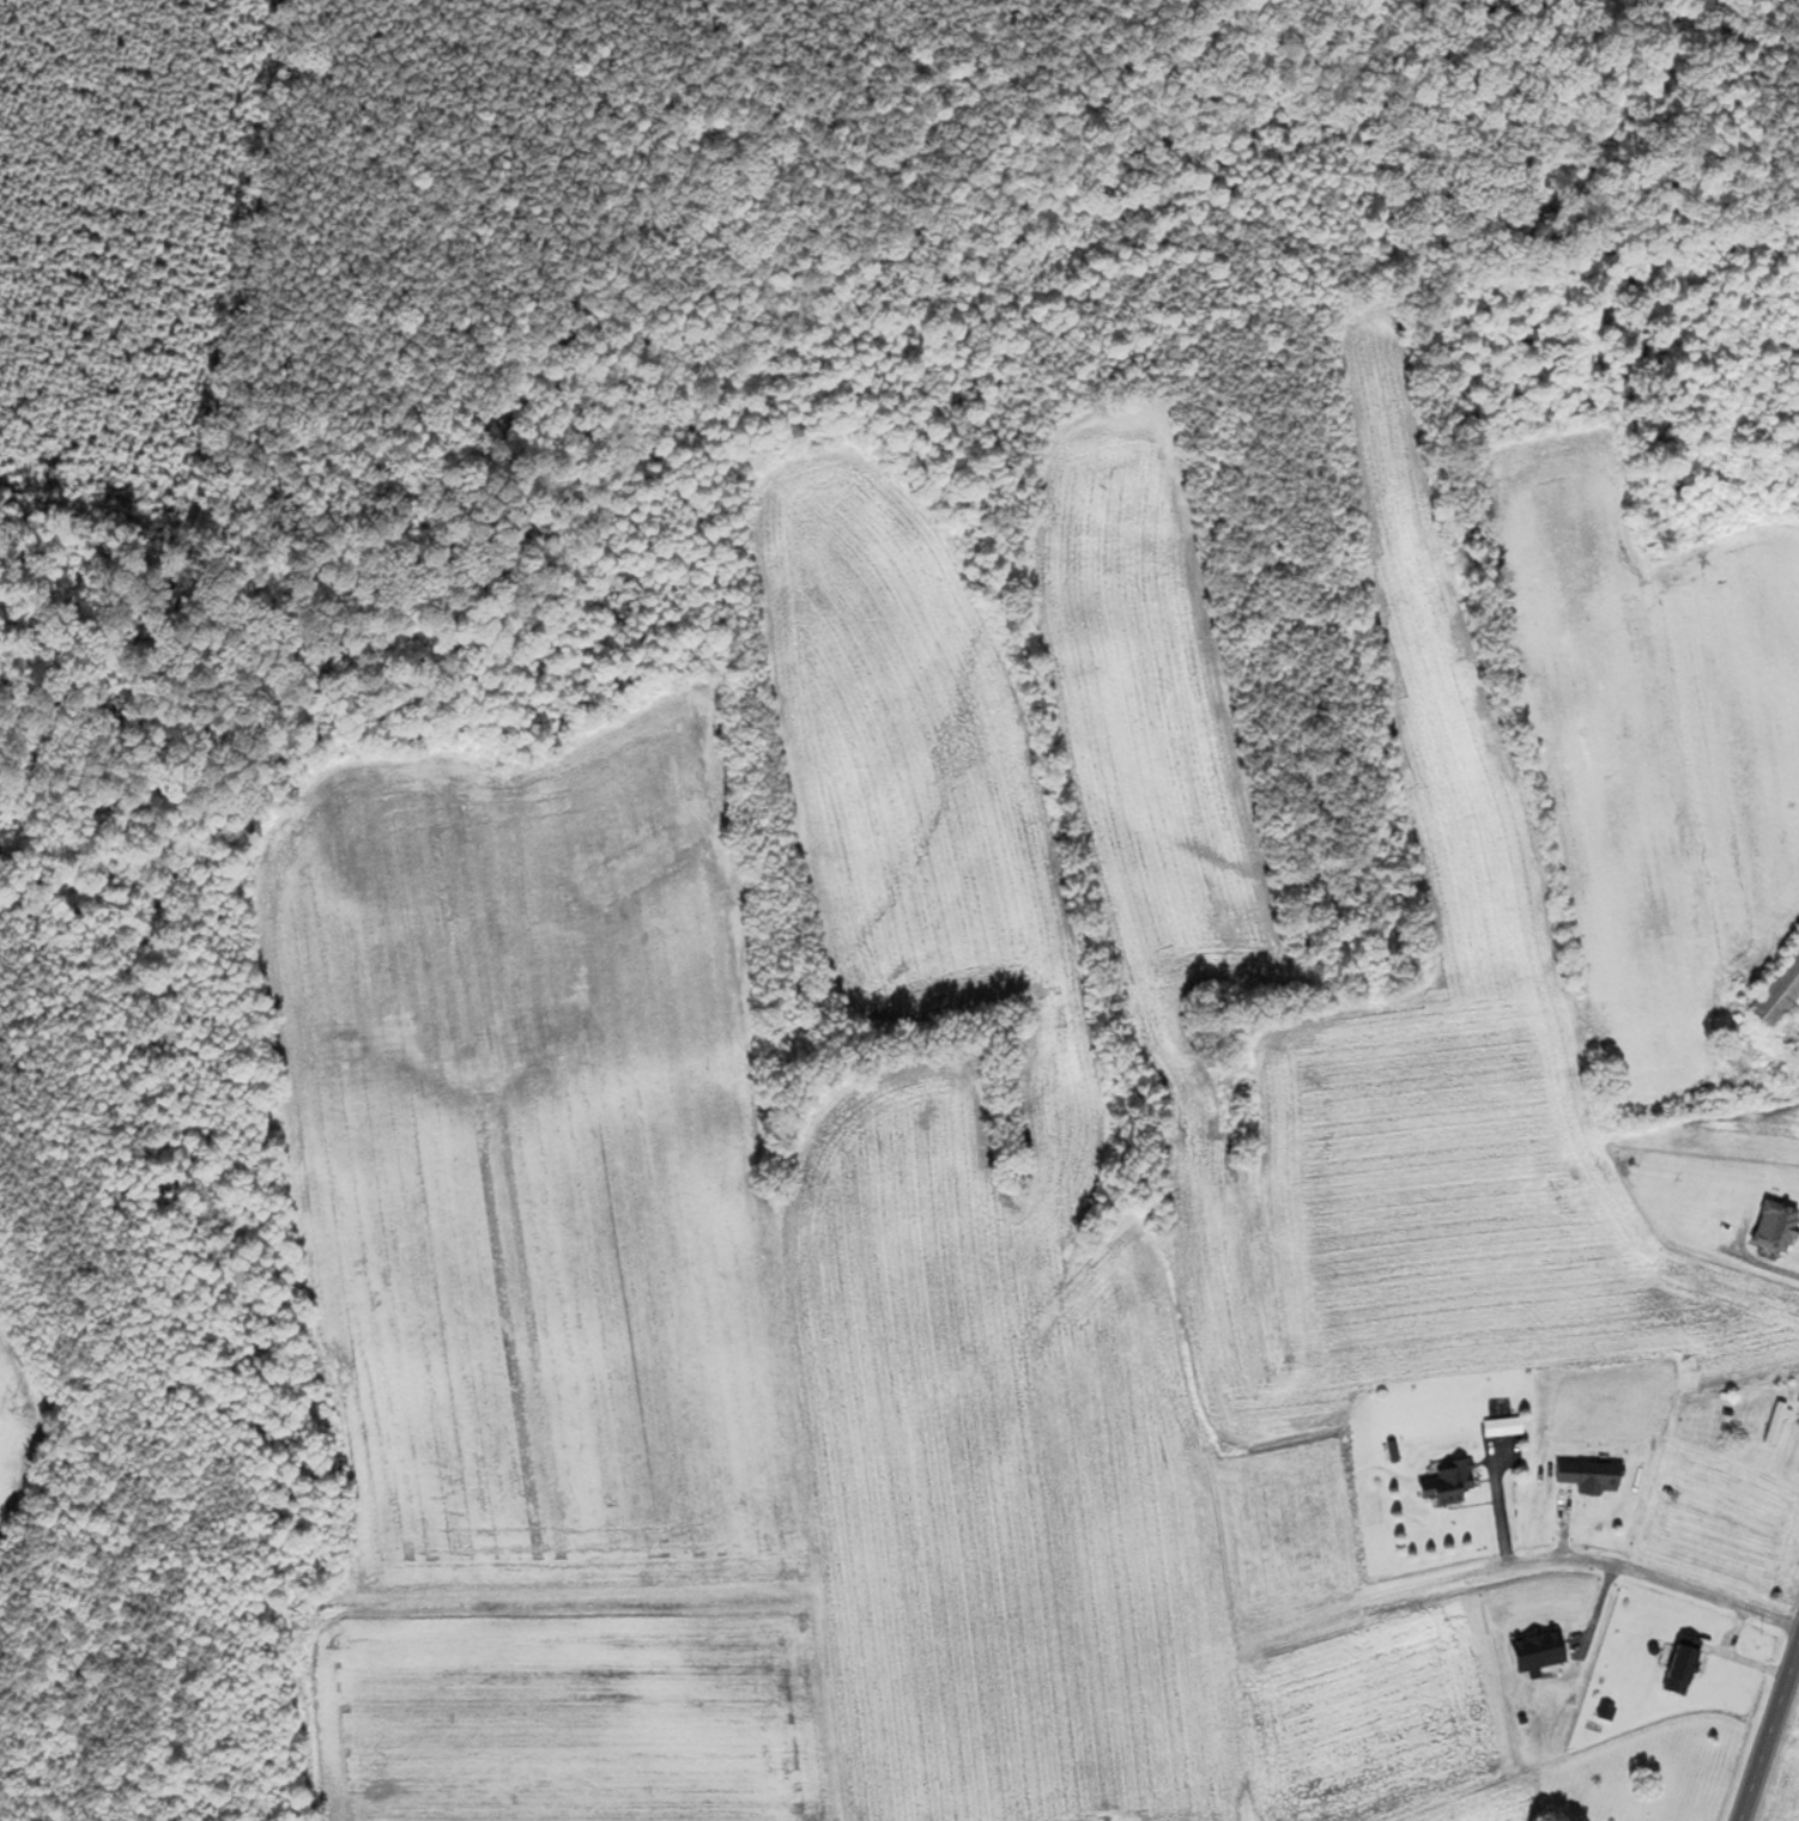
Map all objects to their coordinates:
building: (1779, 997)
building: (1559, 1190)
building: (1776, 1227)
building: (1776, 1425)
building: (1589, 1477)
building: (1448, 1485)
road: (1519, 1561)
building: (1538, 1652)
building: (1683, 1665)
road: (1770, 1736)

